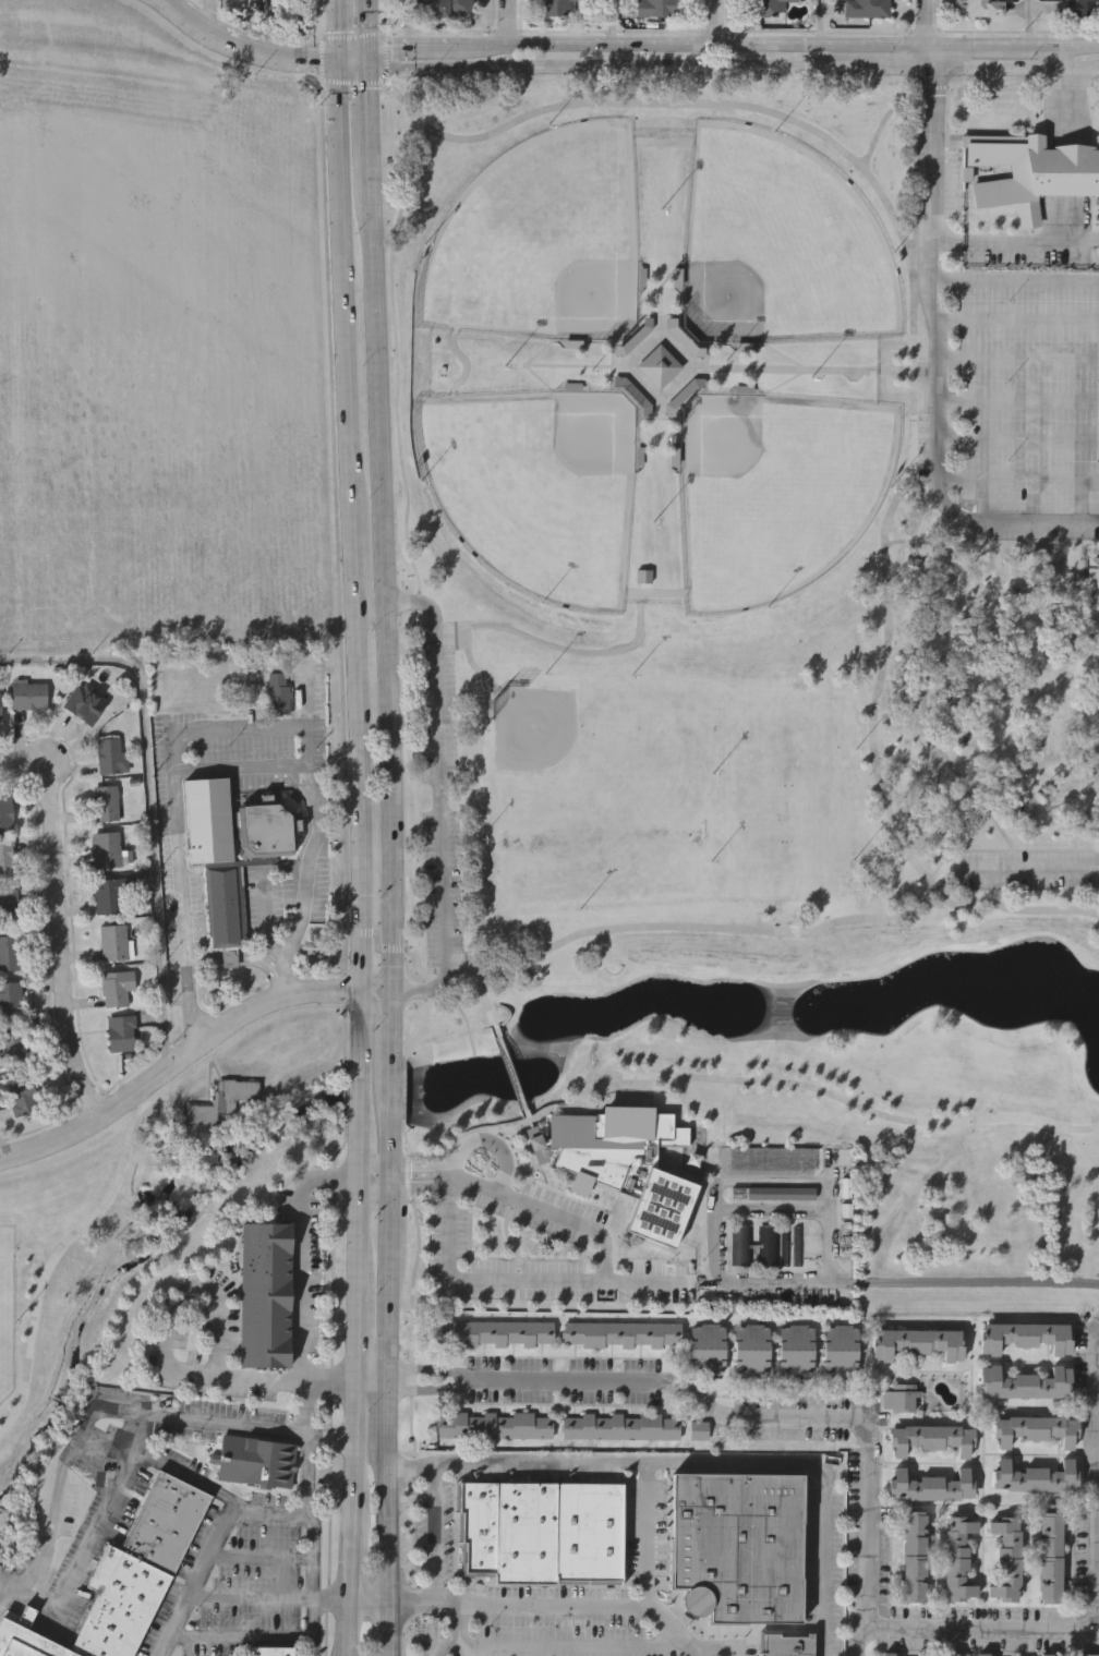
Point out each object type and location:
road: (165, 0)
building: (765, 7)
building: (1078, 7)
building: (555, 8)
building: (654, 8)
building: (866, 8)
building: (981, 8)
building: (451, 9)
road: (204, 14)
road: (718, 21)
road: (408, 22)
road: (509, 22)
road: (614, 22)
road: (820, 22)
road: (925, 22)
road: (1029, 22)
road: (365, 23)
road: (341, 27)
road: (716, 43)
road: (482, 44)
road: (973, 44)
road: (387, 45)
road: (432, 45)
road: (1060, 45)
traffic signals: (365, 46)
road: (245, 48)
road: (353, 50)
road: (925, 53)
traffic signals: (342, 56)
road: (365, 57)
road: (353, 62)
road: (606, 64)
road: (886, 64)
road: (1011, 65)
traffic signals: (365, 69)
road: (1058, 96)
road: (366, 116)
building: (1029, 172)
road: (1063, 214)
road: (998, 232)
park: (543, 242)
park: (780, 245)
road: (340, 264)
road: (1016, 280)
road: (934, 303)
road: (1016, 322)
road: (914, 343)
road: (398, 360)
road: (1017, 361)
building: (657, 368)
road: (374, 380)
parking lot: (1024, 400)
road: (1017, 401)
road: (1017, 439)
road: (1017, 481)
park: (539, 489)
park: (778, 494)
road: (1038, 519)
road: (350, 536)
road: (991, 540)
building: (1091, 573)
road: (655, 591)
road: (1077, 593)
road: (369, 600)
road: (994, 630)
road: (576, 650)
building: (278, 691)
building: (28, 694)
road: (306, 700)
building: (78, 704)
park: (722, 734)
road: (176, 739)
building: (108, 756)
road: (390, 775)
road: (1016, 778)
road: (965, 786)
park: (785, 789)
parking lot: (439, 791)
road: (362, 794)
road: (437, 794)
park: (594, 796)
road: (148, 799)
building: (105, 802)
road: (986, 809)
building: (5, 812)
road: (415, 815)
building: (108, 848)
road: (1023, 848)
building: (7, 860)
road: (1031, 868)
parking lot: (1030, 869)
road: (306, 873)
building: (110, 895)
building: (225, 904)
building: (9, 906)
road: (58, 922)
road: (684, 926)
building: (112, 942)
building: (9, 952)
road: (203, 958)
road: (228, 959)
road: (263, 962)
road: (395, 970)
road: (383, 975)
building: (116, 987)
road: (282, 989)
road: (323, 989)
building: (10, 998)
road: (425, 1015)
road: (376, 1019)
road: (395, 1020)
road: (362, 1027)
building: (120, 1032)
road: (345, 1036)
building: (12, 1045)
road: (507, 1066)
road: (145, 1081)
road: (812, 1086)
road: (394, 1087)
road: (402, 1091)
building: (19, 1096)
road: (362, 1098)
building: (220, 1101)
road: (346, 1101)
road: (394, 1150)
road: (0, 1151)
road: (71, 1151)
road: (370, 1153)
road: (122, 1158)
building: (621, 1160)
road: (362, 1170)
road: (425, 1170)
road: (553, 1173)
road: (399, 1180)
road: (717, 1184)
road: (427, 1185)
road: (373, 1188)
building: (773, 1192)
road: (772, 1210)
road: (597, 1237)
road: (392, 1241)
road: (361, 1243)
building: (742, 1244)
building: (785, 1244)
building: (798, 1245)
building: (769, 1246)
road: (298, 1253)
road: (624, 1260)
park: (58, 1264)
road: (480, 1280)
road: (965, 1282)
road: (198, 1286)
building: (264, 1297)
park: (5, 1313)
road: (361, 1330)
building: (493, 1332)
building: (620, 1333)
road: (391, 1334)
building: (1026, 1335)
building: (917, 1342)
building: (705, 1347)
building: (749, 1349)
building: (795, 1349)
building: (838, 1349)
road: (431, 1367)
road: (376, 1375)
road: (264, 1378)
road: (392, 1378)
building: (1025, 1381)
road: (376, 1387)
road: (432, 1388)
road: (410, 1390)
road: (331, 1393)
building: (901, 1397)
road: (218, 1416)
road: (777, 1419)
road: (391, 1421)
building: (493, 1425)
building: (619, 1426)
building: (1036, 1427)
building: (698, 1431)
road: (329, 1438)
building: (931, 1438)
road: (156, 1455)
road: (412, 1461)
building: (254, 1462)
road: (651, 1462)
road: (58, 1471)
building: (1032, 1475)
road: (1096, 1478)
building: (930, 1486)
road: (267, 1511)
road: (300, 1512)
road: (358, 1520)
road: (390, 1525)
building: (543, 1528)
road: (649, 1534)
building: (736, 1545)
road: (254, 1556)
building: (913, 1556)
building: (1050, 1557)
building: (957, 1558)
building: (1006, 1559)
building: (122, 1578)
road: (271, 1597)
road: (374, 1598)
road: (555, 1601)
road: (390, 1628)
road: (980, 1628)
road: (455, 1634)
road: (257, 1636)
road: (566, 1643)
building: (786, 1645)
road: (715, 1648)
building: (269, 1651)
building: (886, 1654)
building: (951, 1654)
building: (1086, 1654)
building: (981, 1655)
building: (1046, 1655)

